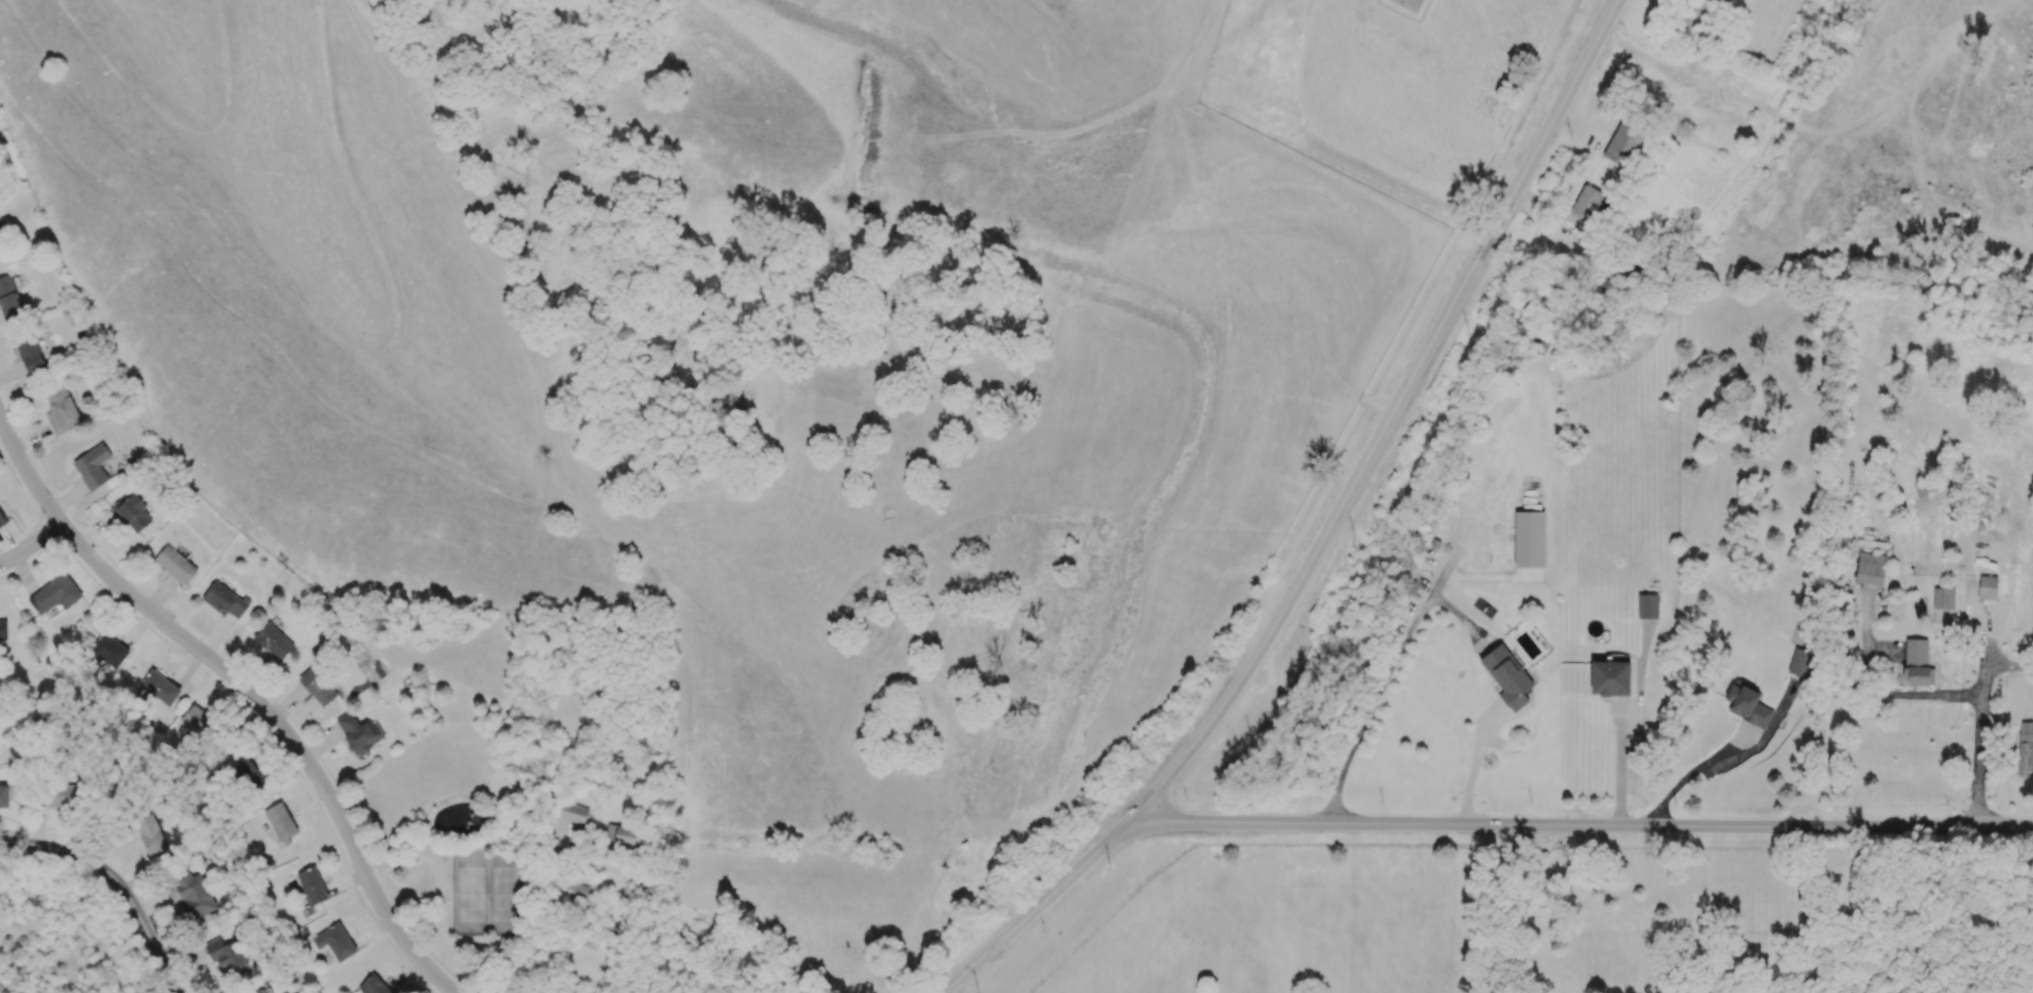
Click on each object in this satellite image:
building: (1691, 13)
building: (1623, 143)
building: (1586, 202)
building: (0, 252)
building: (10, 303)
building: (29, 354)
building: (61, 410)
building: (93, 466)
building: (134, 513)
building: (2, 520)
road: (1327, 529)
road: (32, 544)
building: (175, 564)
building: (1870, 568)
building: (1987, 587)
building: (55, 593)
building: (1943, 598)
building: (225, 600)
building: (1647, 606)
building: (3, 629)
building: (273, 640)
building: (106, 651)
building: (1800, 663)
building: (1917, 663)
road: (2010, 664)
building: (1507, 676)
building: (1609, 678)
building: (319, 684)
road: (1383, 684)
building: (159, 687)
road: (245, 689)
road: (1903, 692)
building: (1747, 704)
building: (200, 722)
road: (1981, 730)
building: (356, 733)
building: (2025, 748)
road: (1621, 761)
building: (251, 767)
road: (1473, 767)
road: (1694, 771)
building: (4, 795)
building: (60, 795)
building: (573, 812)
road: (1581, 821)
building: (282, 823)
building: (151, 834)
building: (620, 836)
road: (45, 842)
park: (451, 846)
building: (312, 885)
park: (486, 893)
building: (195, 894)
park: (1536, 914)
road: (140, 920)
building: (335, 942)
building: (227, 952)
building: (372, 985)
building: (259, 991)

